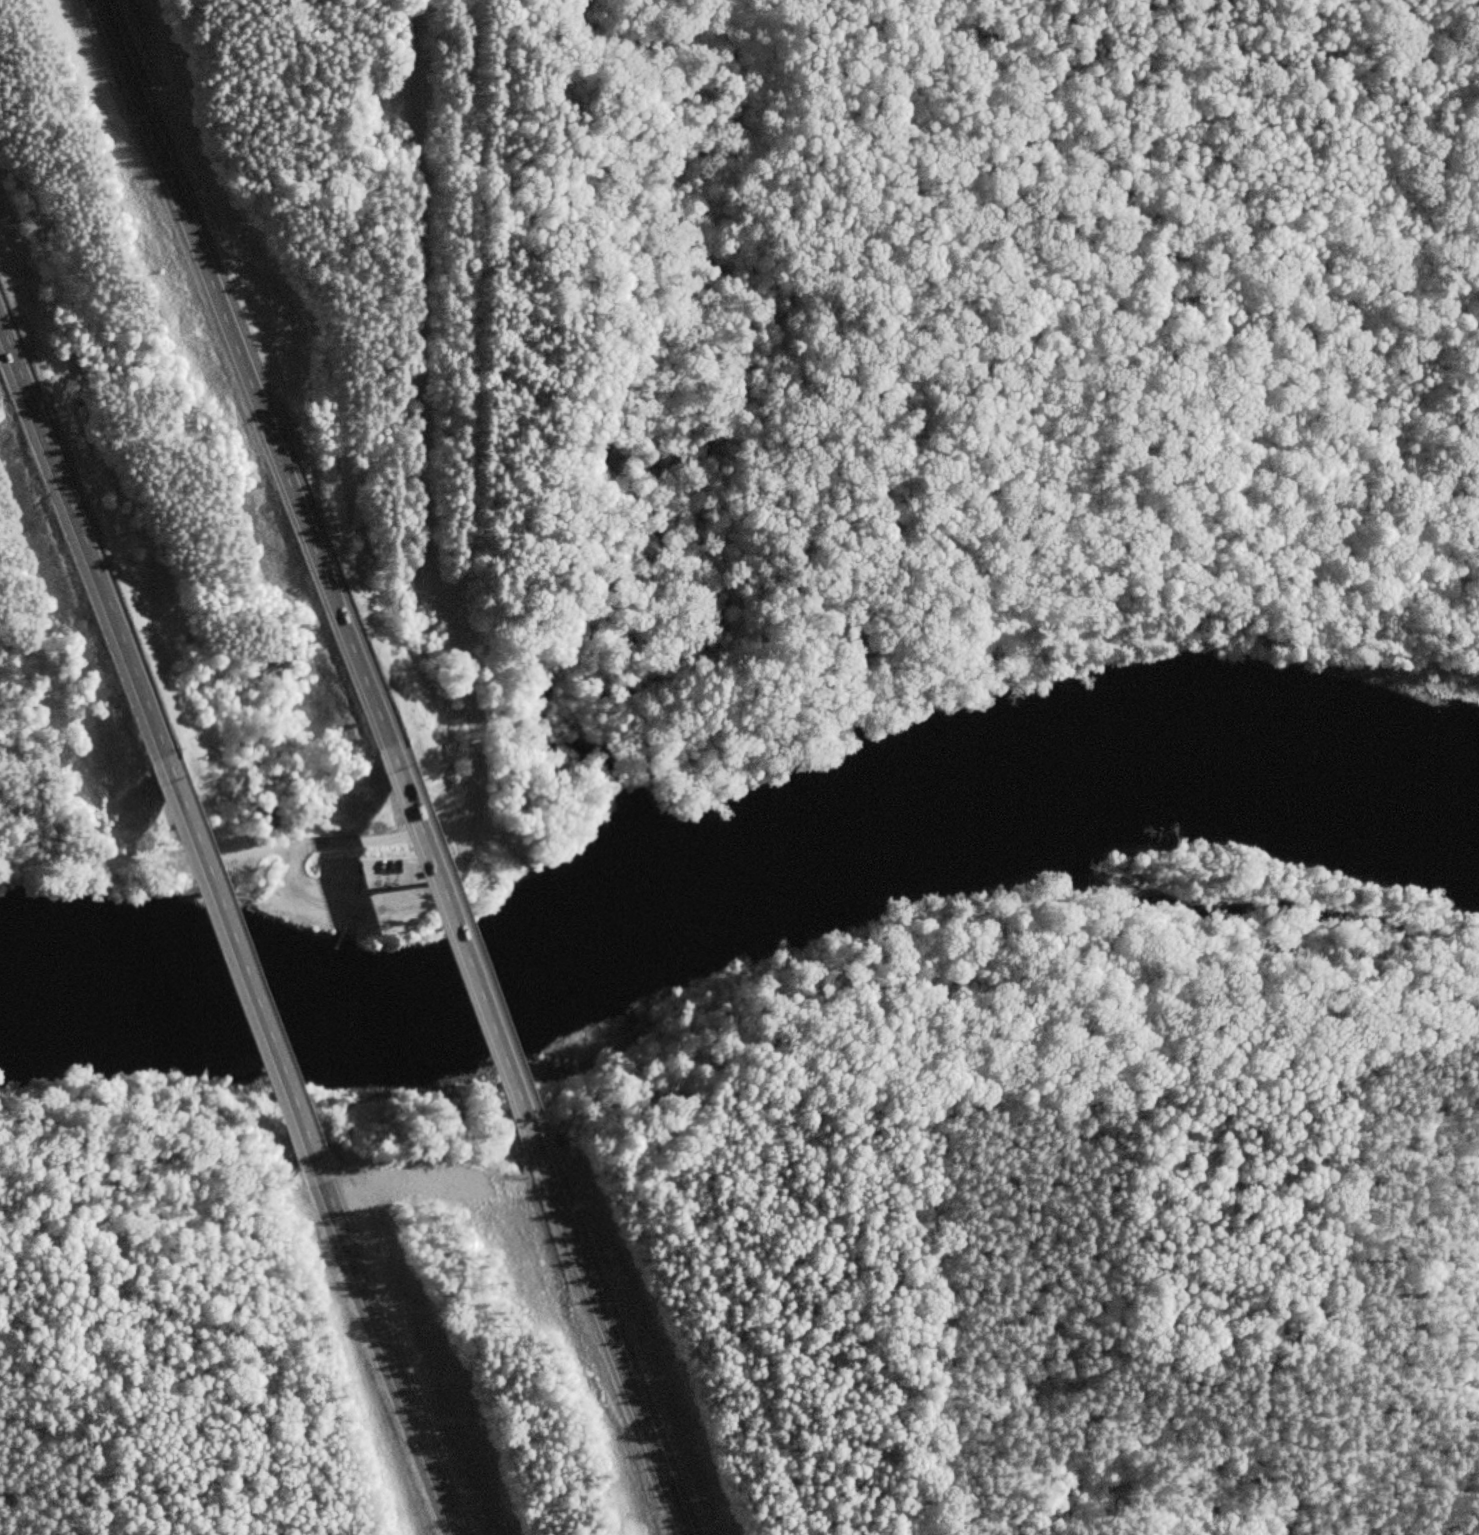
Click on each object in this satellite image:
road: (242, 371)
road: (419, 407)
road: (86, 547)
parking lot: (380, 872)
river: (740, 881)
road: (314, 890)
road: (358, 922)
road: (460, 950)
road: (239, 978)
road: (615, 1345)
road: (387, 1360)

